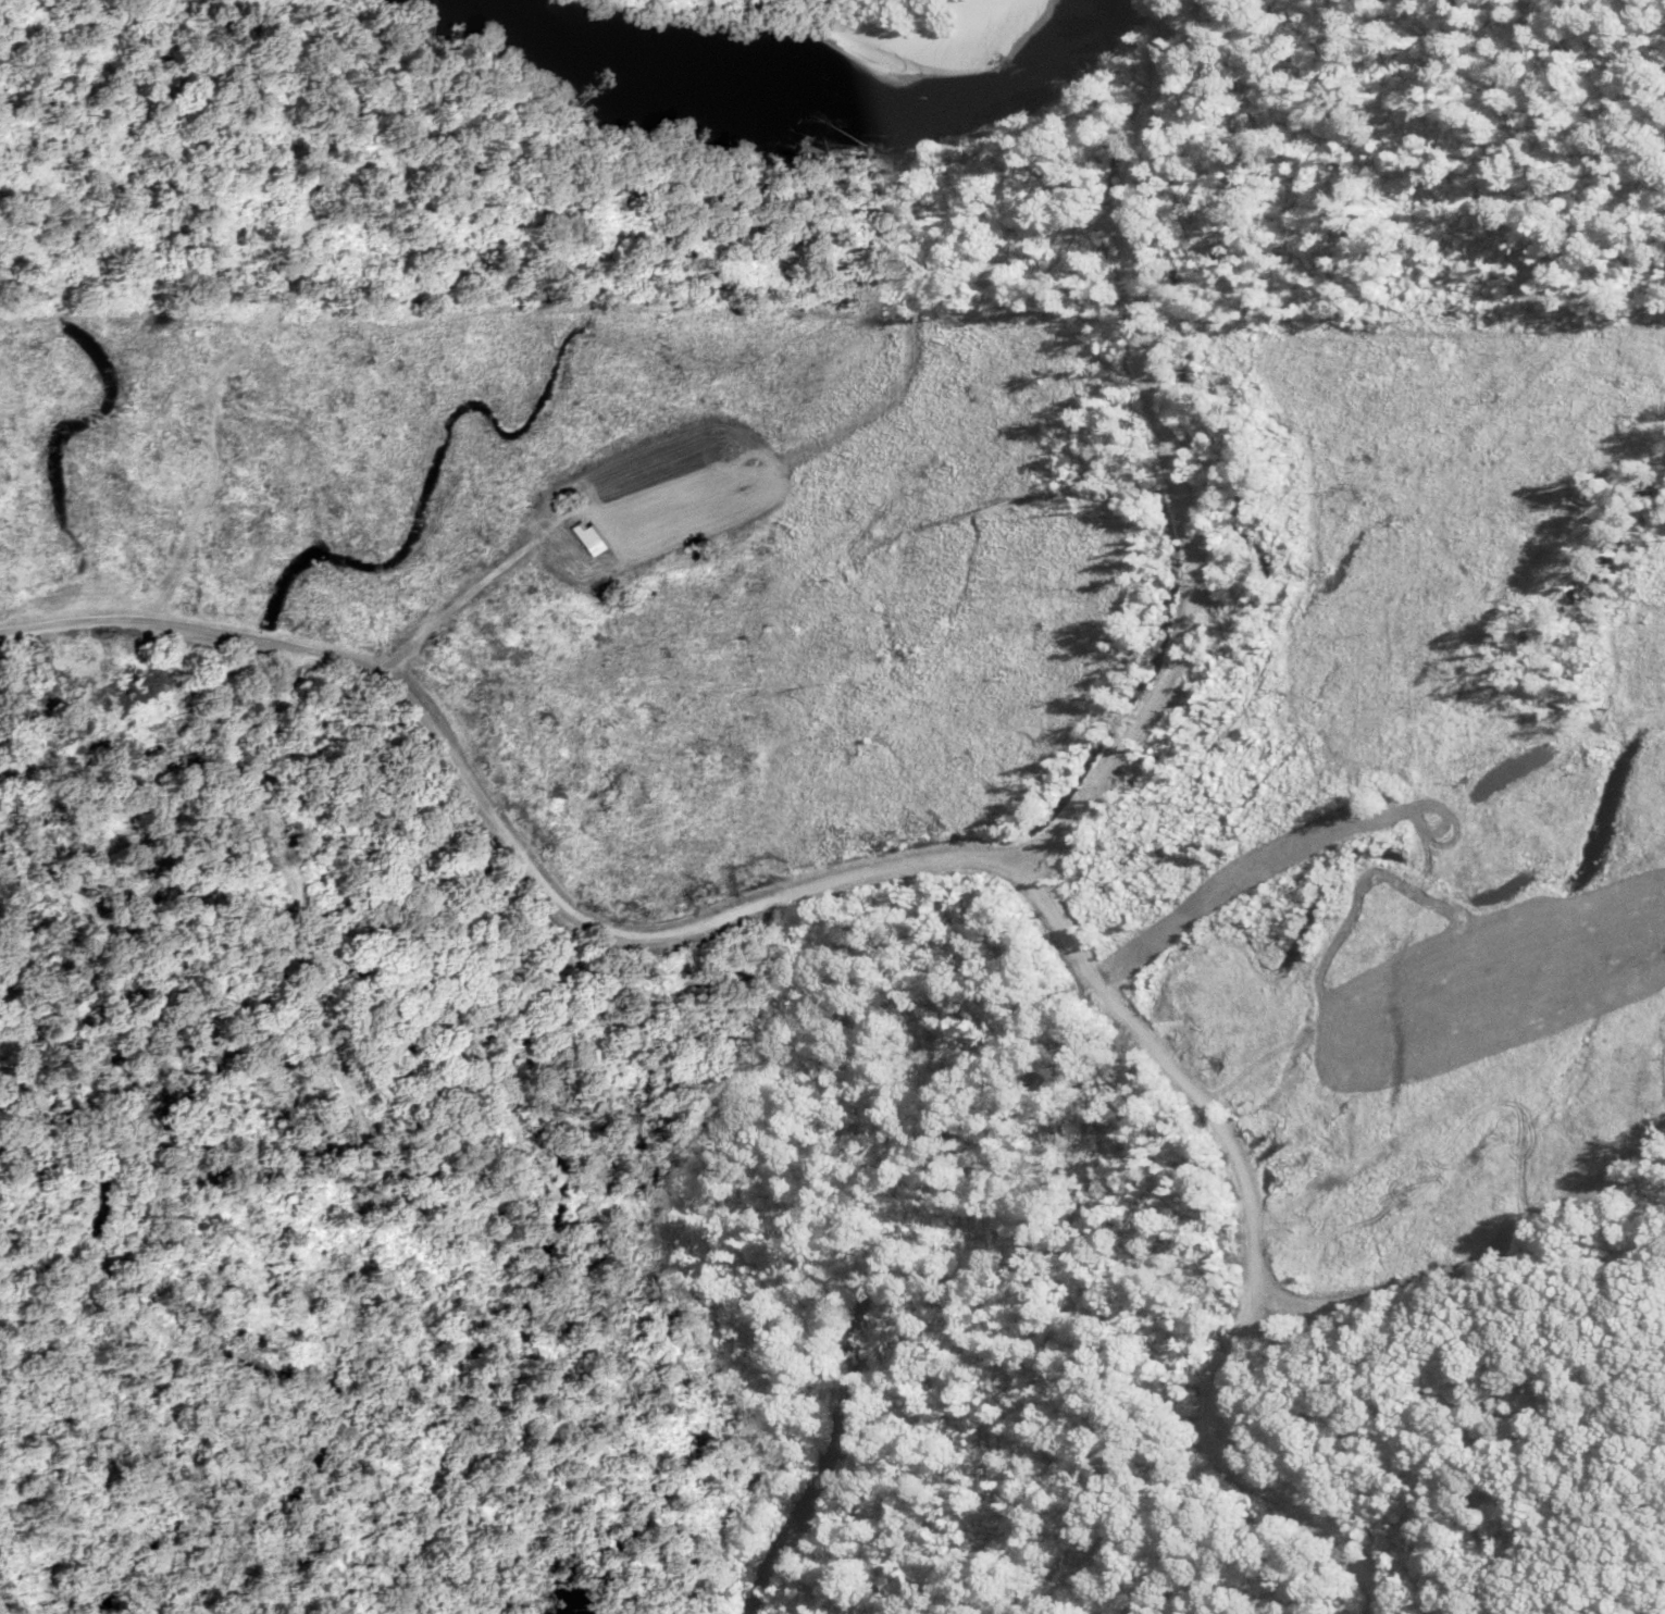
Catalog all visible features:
river: (798, 32)

